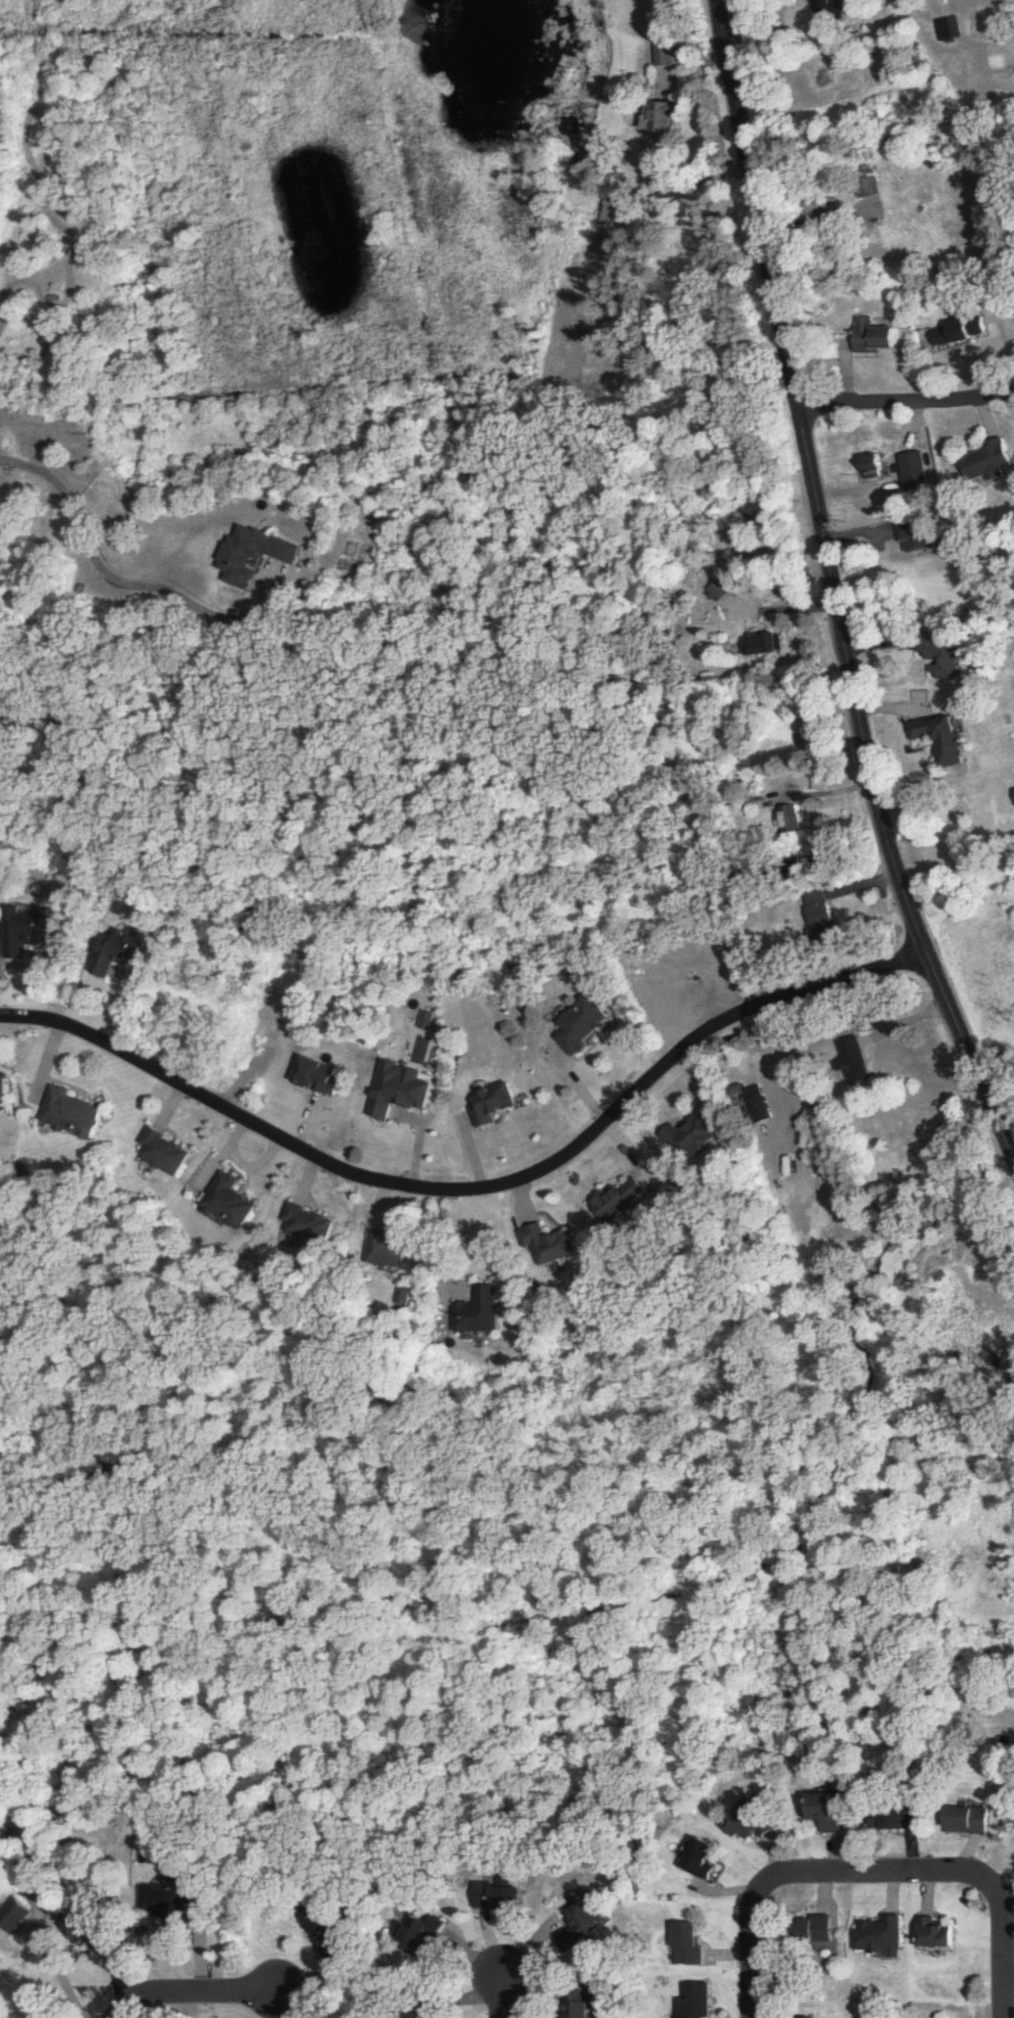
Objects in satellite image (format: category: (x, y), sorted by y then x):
building: (834, 12)
building: (952, 29)
building: (662, 55)
building: (668, 120)
building: (832, 205)
building: (960, 332)
building: (878, 337)
road: (907, 407)
building: (991, 464)
building: (879, 469)
building: (926, 476)
building: (923, 537)
road: (113, 576)
road: (834, 589)
building: (722, 591)
building: (767, 645)
building: (945, 656)
building: (948, 740)
building: (792, 821)
building: (827, 920)
building: (31, 932)
building: (125, 955)
building: (585, 1027)
building: (858, 1062)
building: (8, 1092)
building: (756, 1104)
building: (498, 1106)
building: (76, 1115)
building: (697, 1137)
building: (165, 1154)
road: (477, 1186)
building: (625, 1201)
building: (233, 1204)
building: (313, 1227)
road: (446, 1242)
building: (554, 1245)
building: (392, 1250)
building: (484, 1313)
building: (831, 1812)
building: (897, 1818)
building: (971, 1821)
building: (756, 1822)
building: (708, 1860)
road: (879, 1874)
building: (166, 1899)
building: (504, 1900)
building: (15, 1915)
building: (585, 1927)
building: (327, 1930)
building: (816, 1930)
building: (92, 1931)
building: (419, 1934)
building: (939, 1934)
building: (881, 1936)
building: (691, 1944)
road: (758, 1954)
road: (1004, 1954)
road: (194, 1993)
road: (499, 1999)
building: (696, 2000)
building: (579, 2003)

